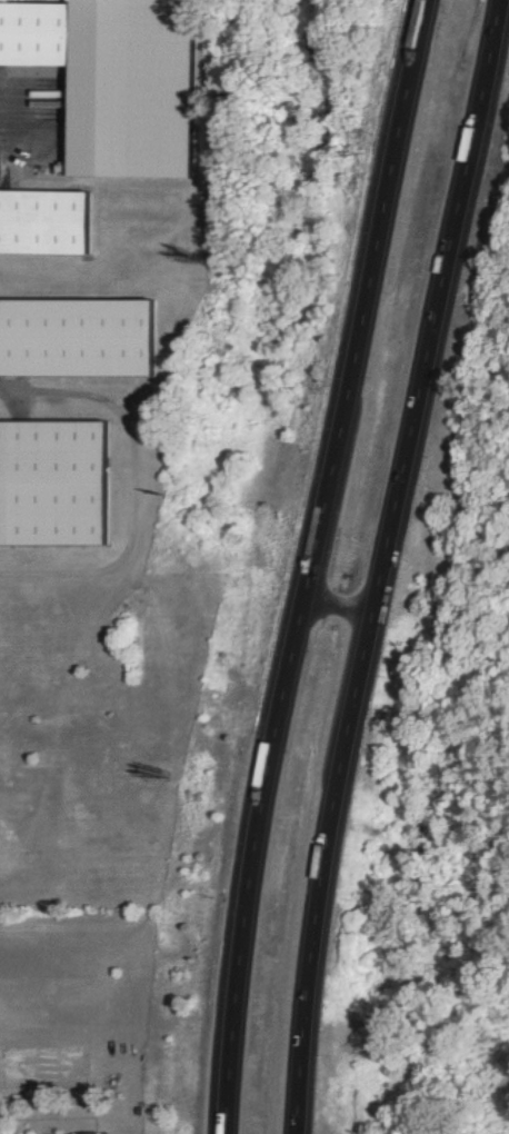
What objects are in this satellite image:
building: (92, 7)
building: (87, 92)
building: (46, 221)
building: (80, 337)
building: (54, 483)
road: (307, 564)
road: (378, 564)
road: (127, 596)
road: (333, 607)
building: (89, 1133)

